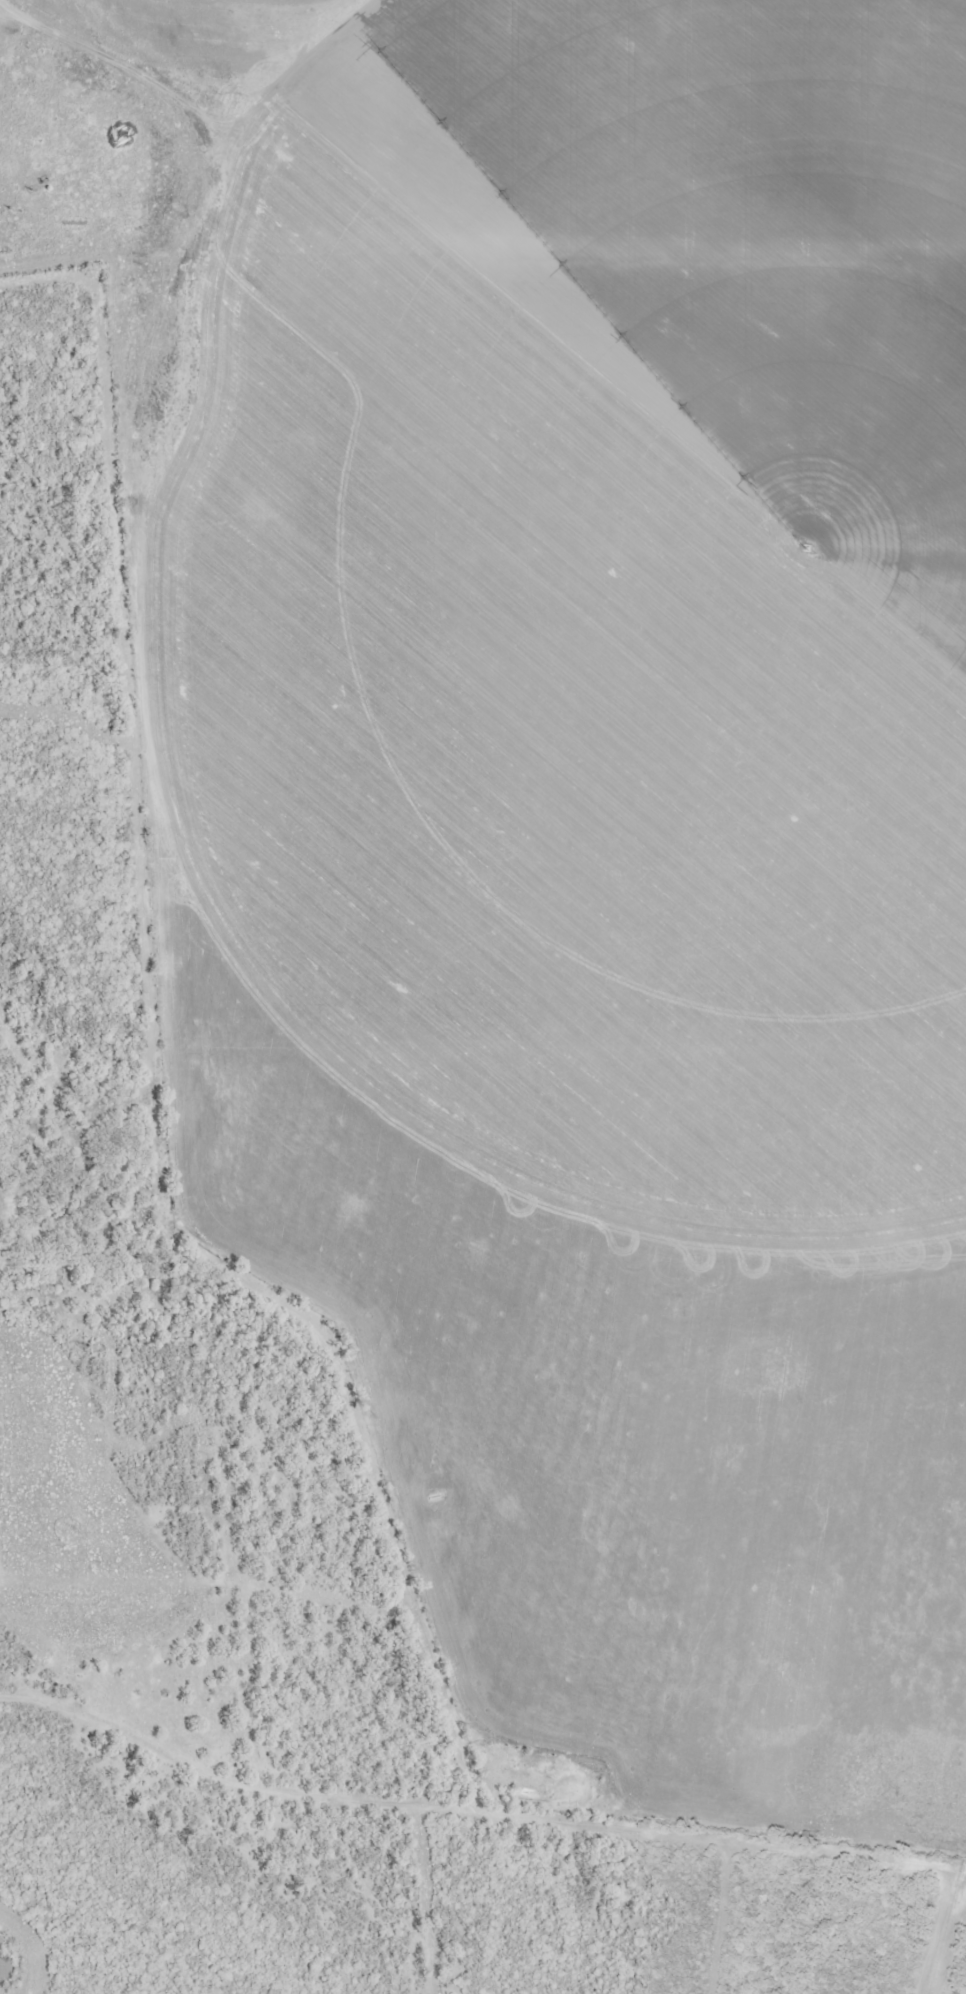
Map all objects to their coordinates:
road: (150, 972)
road: (498, 1817)
building: (1, 1945)
building: (6, 1969)

